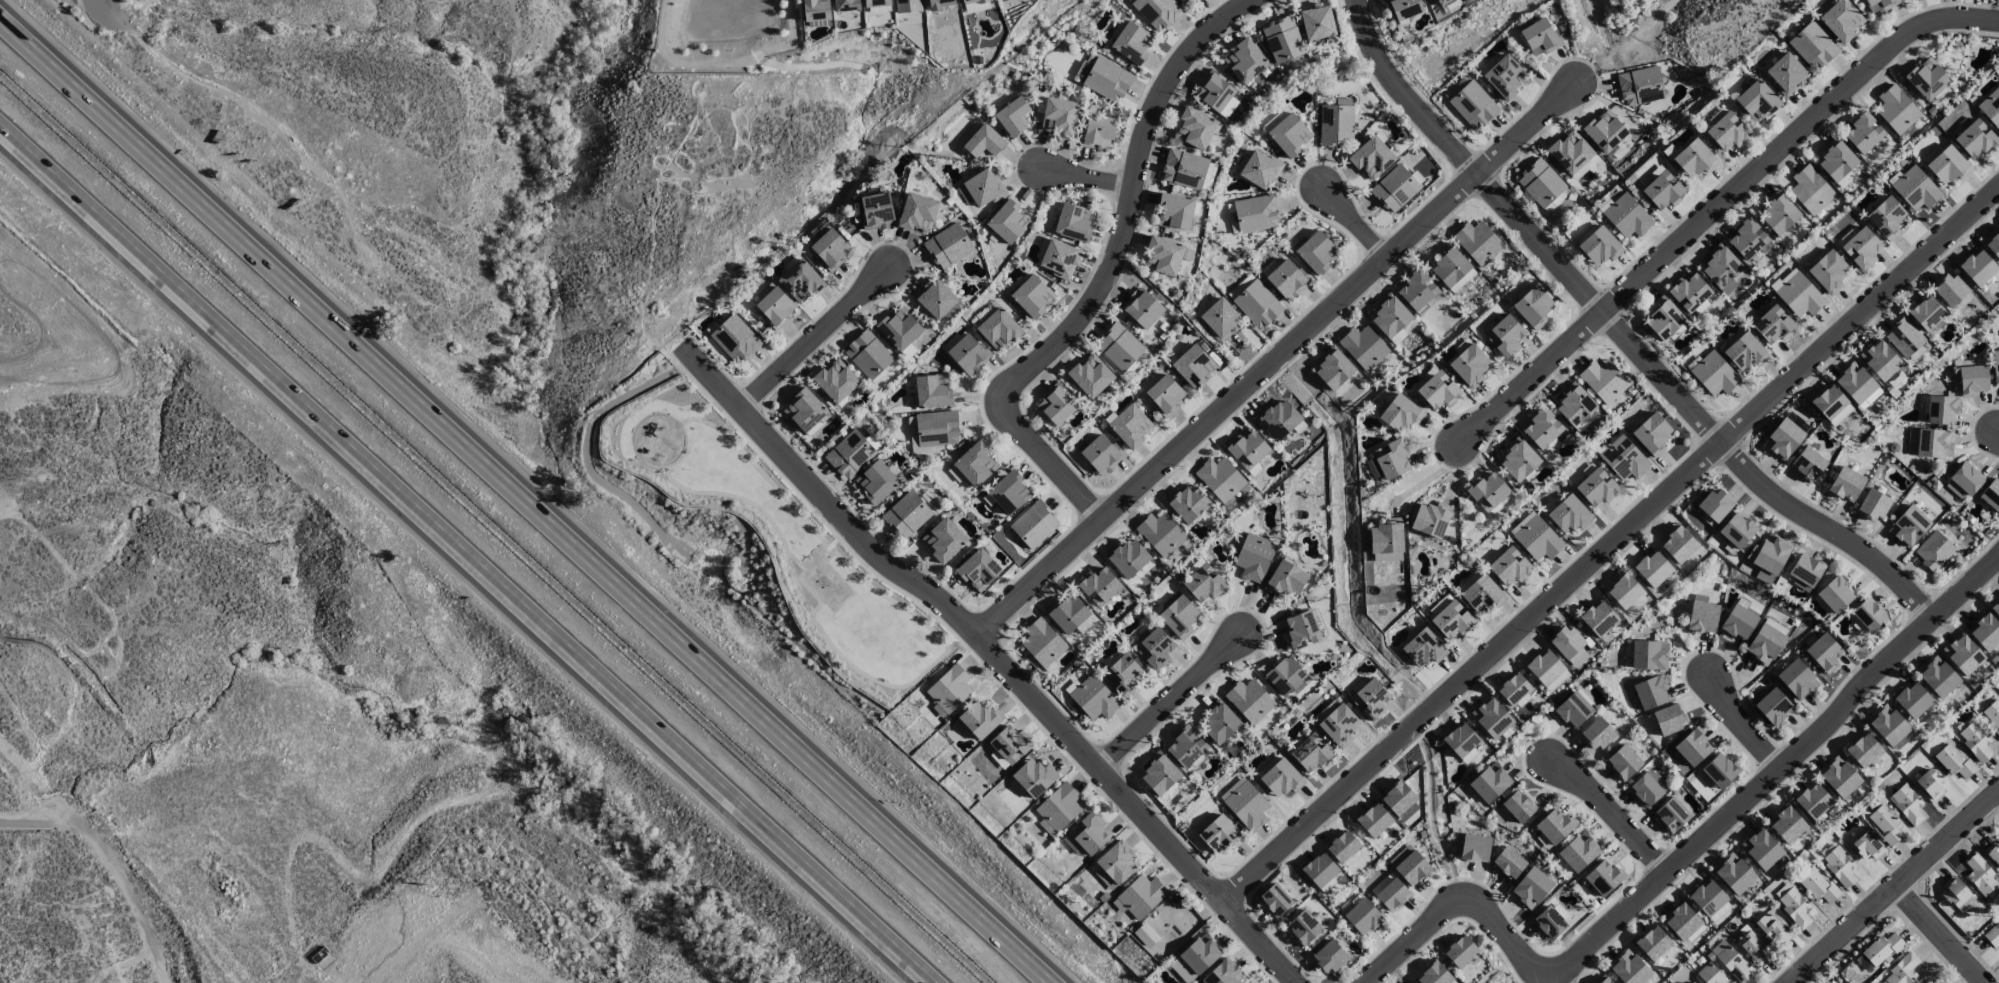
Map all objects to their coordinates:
building: (1185, 1)
building: (1441, 1)
road: (100, 3)
building: (876, 3)
building: (940, 4)
building: (975, 5)
building: (907, 6)
building: (1404, 8)
building: (816, 10)
building: (1157, 12)
building: (1841, 20)
building: (1316, 22)
building: (1539, 37)
building: (1282, 40)
building: (1132, 43)
building: (1813, 46)
building: (1245, 61)
building: (1786, 74)
building: (1505, 76)
building: (1927, 78)
building: (1104, 79)
building: (1640, 86)
building: (1214, 92)
building: (1757, 101)
building: (1473, 105)
building: (1228, 107)
building: (1991, 107)
building: (1896, 109)
building: (1060, 116)
building: (1013, 117)
building: (1276, 118)
road: (270, 123)
building: (1336, 125)
building: (1195, 128)
building: (1604, 131)
building: (1098, 132)
building: (1727, 132)
building: (1863, 132)
building: (1289, 135)
building: (1975, 138)
building: (984, 144)
building: (1570, 152)
building: (1372, 158)
building: (1694, 158)
building: (1838, 163)
building: (1948, 165)
building: (1184, 169)
building: (1260, 169)
road: (1090, 175)
building: (1541, 182)
building: (984, 187)
building: (1395, 188)
building: (1916, 189)
building: (1811, 190)
building: (1663, 191)
building: (964, 194)
road: (1719, 203)
road: (1131, 209)
building: (876, 211)
building: (1176, 211)
building: (918, 213)
building: (1256, 213)
building: (1778, 213)
building: (1627, 216)
building: (1886, 218)
building: (1008, 222)
building: (1074, 222)
road: (1358, 223)
building: (1748, 238)
building: (1478, 242)
building: (1993, 244)
building: (948, 246)
building: (1600, 246)
building: (1861, 248)
building: (830, 249)
building: (1317, 252)
building: (1163, 255)
building: (1059, 259)
building: (1449, 265)
building: (1722, 268)
building: (1978, 268)
building: (1828, 271)
building: (1285, 278)
building: (800, 280)
building: (1949, 290)
building: (1418, 291)
building: (1689, 292)
building: (1032, 296)
building: (1800, 296)
building: (935, 299)
building: (1255, 301)
building: (776, 307)
building: (1534, 307)
building: (1142, 309)
building: (1927, 314)
building: (1390, 315)
building: (1664, 318)
building: (1220, 320)
building: (1773, 324)
road: (1623, 328)
building: (899, 329)
building: (999, 329)
building: (1505, 336)
road: (813, 337)
building: (1904, 337)
building: (735, 339)
building: (1119, 346)
building: (1363, 347)
building: (1743, 350)
building: (868, 354)
building: (968, 354)
road: (1277, 357)
building: (1880, 360)
building: (1469, 365)
building: (1194, 366)
building: (1995, 367)
building: (1333, 368)
building: (1714, 374)
building: (1090, 376)
building: (1972, 379)
building: (1603, 380)
building: (836, 381)
building: (1857, 385)
building: (932, 390)
building: (1438, 390)
building: (1165, 394)
building: (1056, 404)
building: (1575, 404)
building: (1831, 405)
building: (805, 410)
building: (1942, 410)
building: (1400, 413)
building: (1279, 418)
road: (705, 420)
building: (1587, 420)
building: (1131, 426)
building: (1542, 427)
building: (937, 428)
building: (1652, 434)
building: (1784, 439)
building: (1930, 443)
road: (586, 449)
building: (1247, 449)
building: (1102, 455)
road: (640, 458)
building: (1624, 458)
building: (1519, 459)
building: (1389, 461)
building: (1808, 463)
building: (975, 464)
road: (1057, 465)
road: (1431, 475)
building: (1220, 478)
building: (876, 481)
building: (1964, 481)
building: (1846, 484)
building: (1597, 487)
building: (1487, 491)
building: (1010, 493)
building: (1991, 495)
road: (527, 501)
building: (1187, 503)
building: (1716, 504)
building: (1873, 504)
road: (809, 506)
building: (906, 514)
building: (1569, 514)
building: (1431, 518)
building: (1034, 524)
building: (1909, 526)
building: (1737, 530)
building: (1161, 533)
building: (1538, 539)
building: (944, 540)
park: (757, 542)
building: (1387, 542)
building: (1678, 544)
road: (830, 545)
road: (1612, 545)
building: (1934, 550)
building: (1772, 554)
road: (464, 556)
building: (1254, 557)
building: (1127, 558)
building: (1510, 566)
building: (1652, 568)
building: (978, 570)
building: (1806, 570)
building: (1764, 576)
building: (1472, 577)
park: (825, 578)
building: (1285, 579)
building: (1204, 583)
building: (1099, 586)
building: (1624, 590)
building: (1482, 594)
building: (1836, 594)
building: (1995, 608)
building: (1066, 613)
building: (1868, 614)
building: (1703, 616)
building: (1179, 617)
building: (1598, 618)
building: (1452, 619)
building: (1739, 622)
building: (1086, 624)
building: (1302, 630)
building: (1985, 632)
building: (1043, 643)
building: (1765, 643)
building: (1569, 645)
building: (1155, 648)
building: (1424, 648)
building: (1824, 652)
building: (1963, 654)
road: (999, 655)
building: (1649, 655)
building: (1544, 667)
building: (1283, 674)
building: (1123, 675)
building: (1938, 677)
building: (1797, 679)
building: (1557, 681)
building: (950, 688)
building: (1513, 689)
building: (1651, 692)
building: (1094, 698)
road: (1169, 698)
building: (1913, 699)
building: (1249, 700)
building: (1370, 700)
building: (1773, 706)
building: (1573, 710)
building: (1993, 713)
building: (1266, 717)
building: (1492, 717)
building: (1668, 719)
building: (979, 720)
building: (1219, 722)
building: (1339, 725)
road: (1744, 726)
building: (1891, 727)
building: (1596, 734)
building: (1460, 739)
building: (1976, 741)
building: (1008, 746)
building: (1186, 746)
building: (1693, 747)
building: (1863, 750)
building: (1311, 753)
building: (1954, 761)
building: (1623, 762)
building: (1720, 770)
building: (1159, 773)
building: (1035, 777)
building: (1839, 777)
road: (34, 782)
building: (1490, 782)
building: (1930, 783)
building: (1647, 788)
building: (1812, 800)
building: (1400, 801)
building: (1245, 803)
building: (1907, 804)
building: (1518, 806)
building: (1059, 807)
road: (1614, 813)
building: (1671, 814)
building: (1374, 820)
building: (1885, 823)
building: (1554, 825)
building: (1787, 825)
building: (1089, 833)
building: (1220, 834)
building: (1342, 846)
building: (1868, 846)
building: (1475, 848)
building: (1762, 848)
building: (1579, 852)
road: (1689, 852)
building: (1994, 853)
road: (114, 861)
building: (1509, 863)
building: (1115, 865)
building: (1410, 865)
building: (1840, 865)
building: (1319, 869)
building: (1734, 874)
building: (1981, 875)
building: (1603, 877)
building: (1818, 886)
road: (1893, 886)
building: (1531, 887)
building: (1390, 892)
building: (1955, 892)
building: (1140, 897)
building: (1707, 898)
building: (1275, 900)
building: (1794, 905)
building: (1363, 916)
building: (1549, 922)
building: (1683, 924)
building: (1303, 927)
building: (1772, 927)
road: (1941, 934)
building: (1146, 935)
building: (1993, 936)
building: (1653, 943)
building: (1753, 947)
building: (1881, 948)
building: (1460, 951)
building: (1330, 957)
building: (1195, 959)
building: (1731, 962)
building: (1629, 968)
building: (1903, 970)
building: (1224, 973)
building: (1434, 974)
building: (1710, 975)
road: (1549, 976)
building: (1603, 979)
building: (1411, 982)
building: (1692, 982)
building: (1929, 982)
building: (1938, 982)

